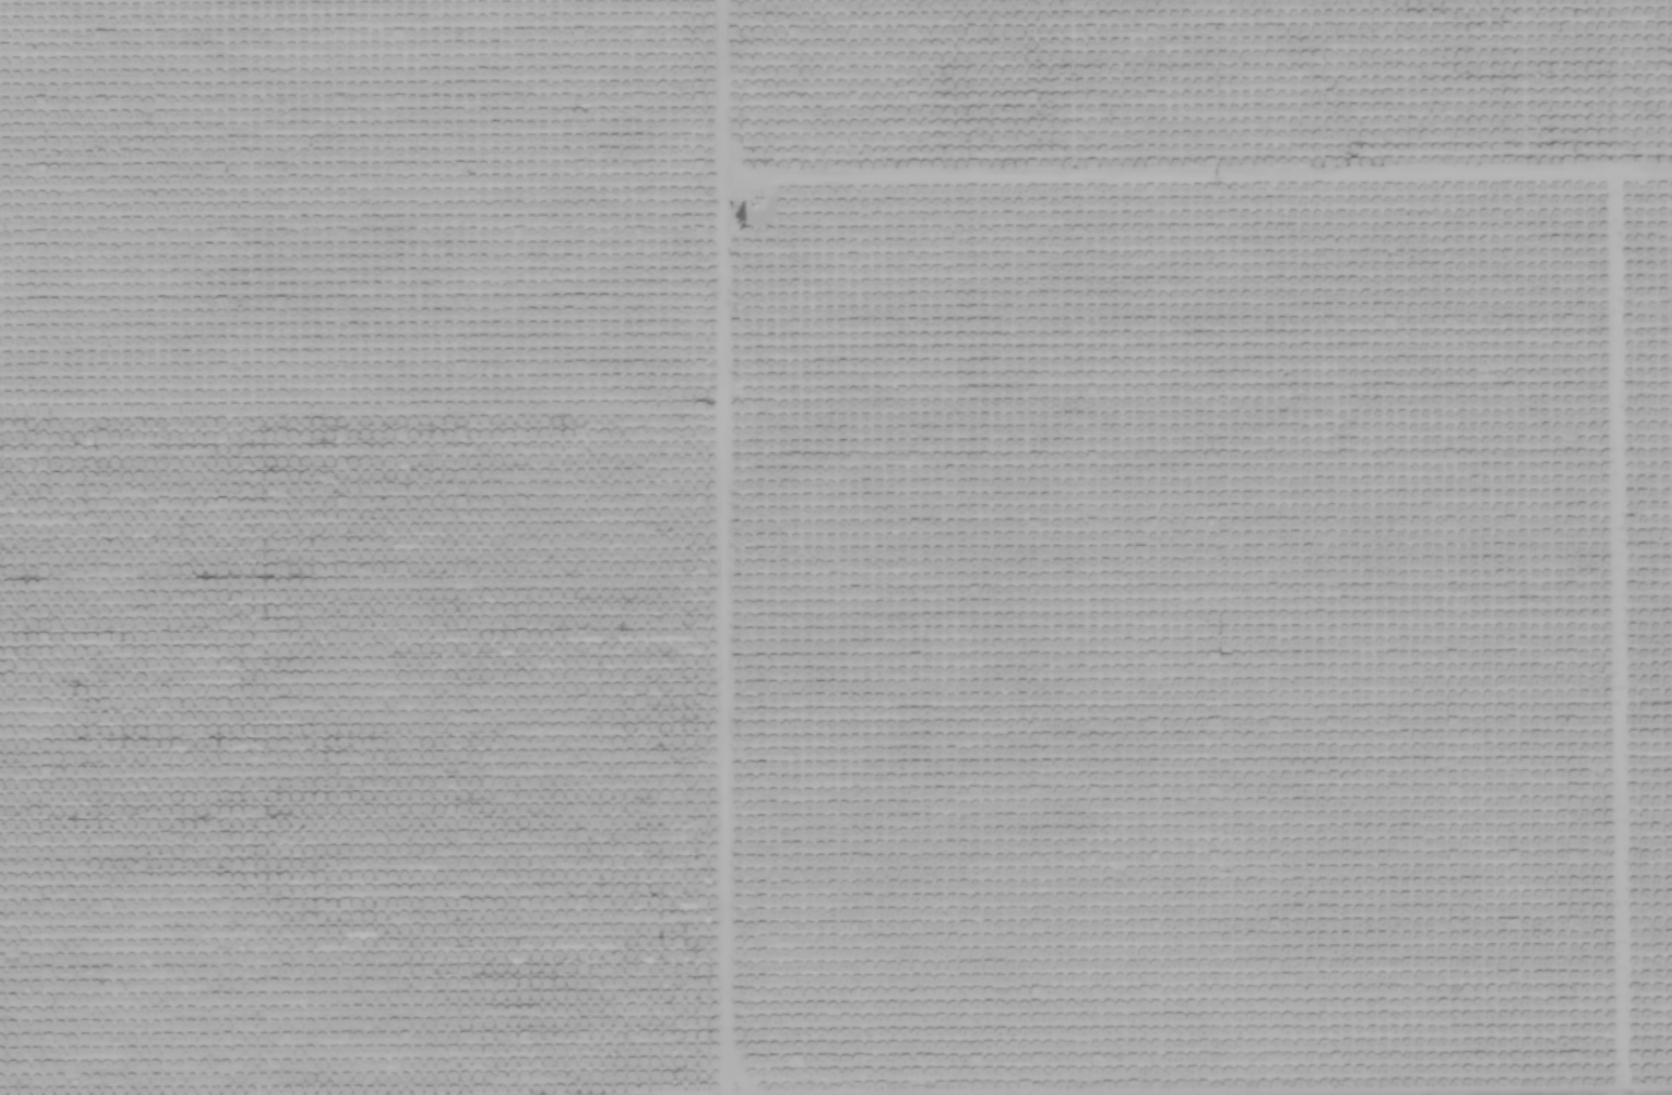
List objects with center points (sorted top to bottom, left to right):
road: (715, 547)

